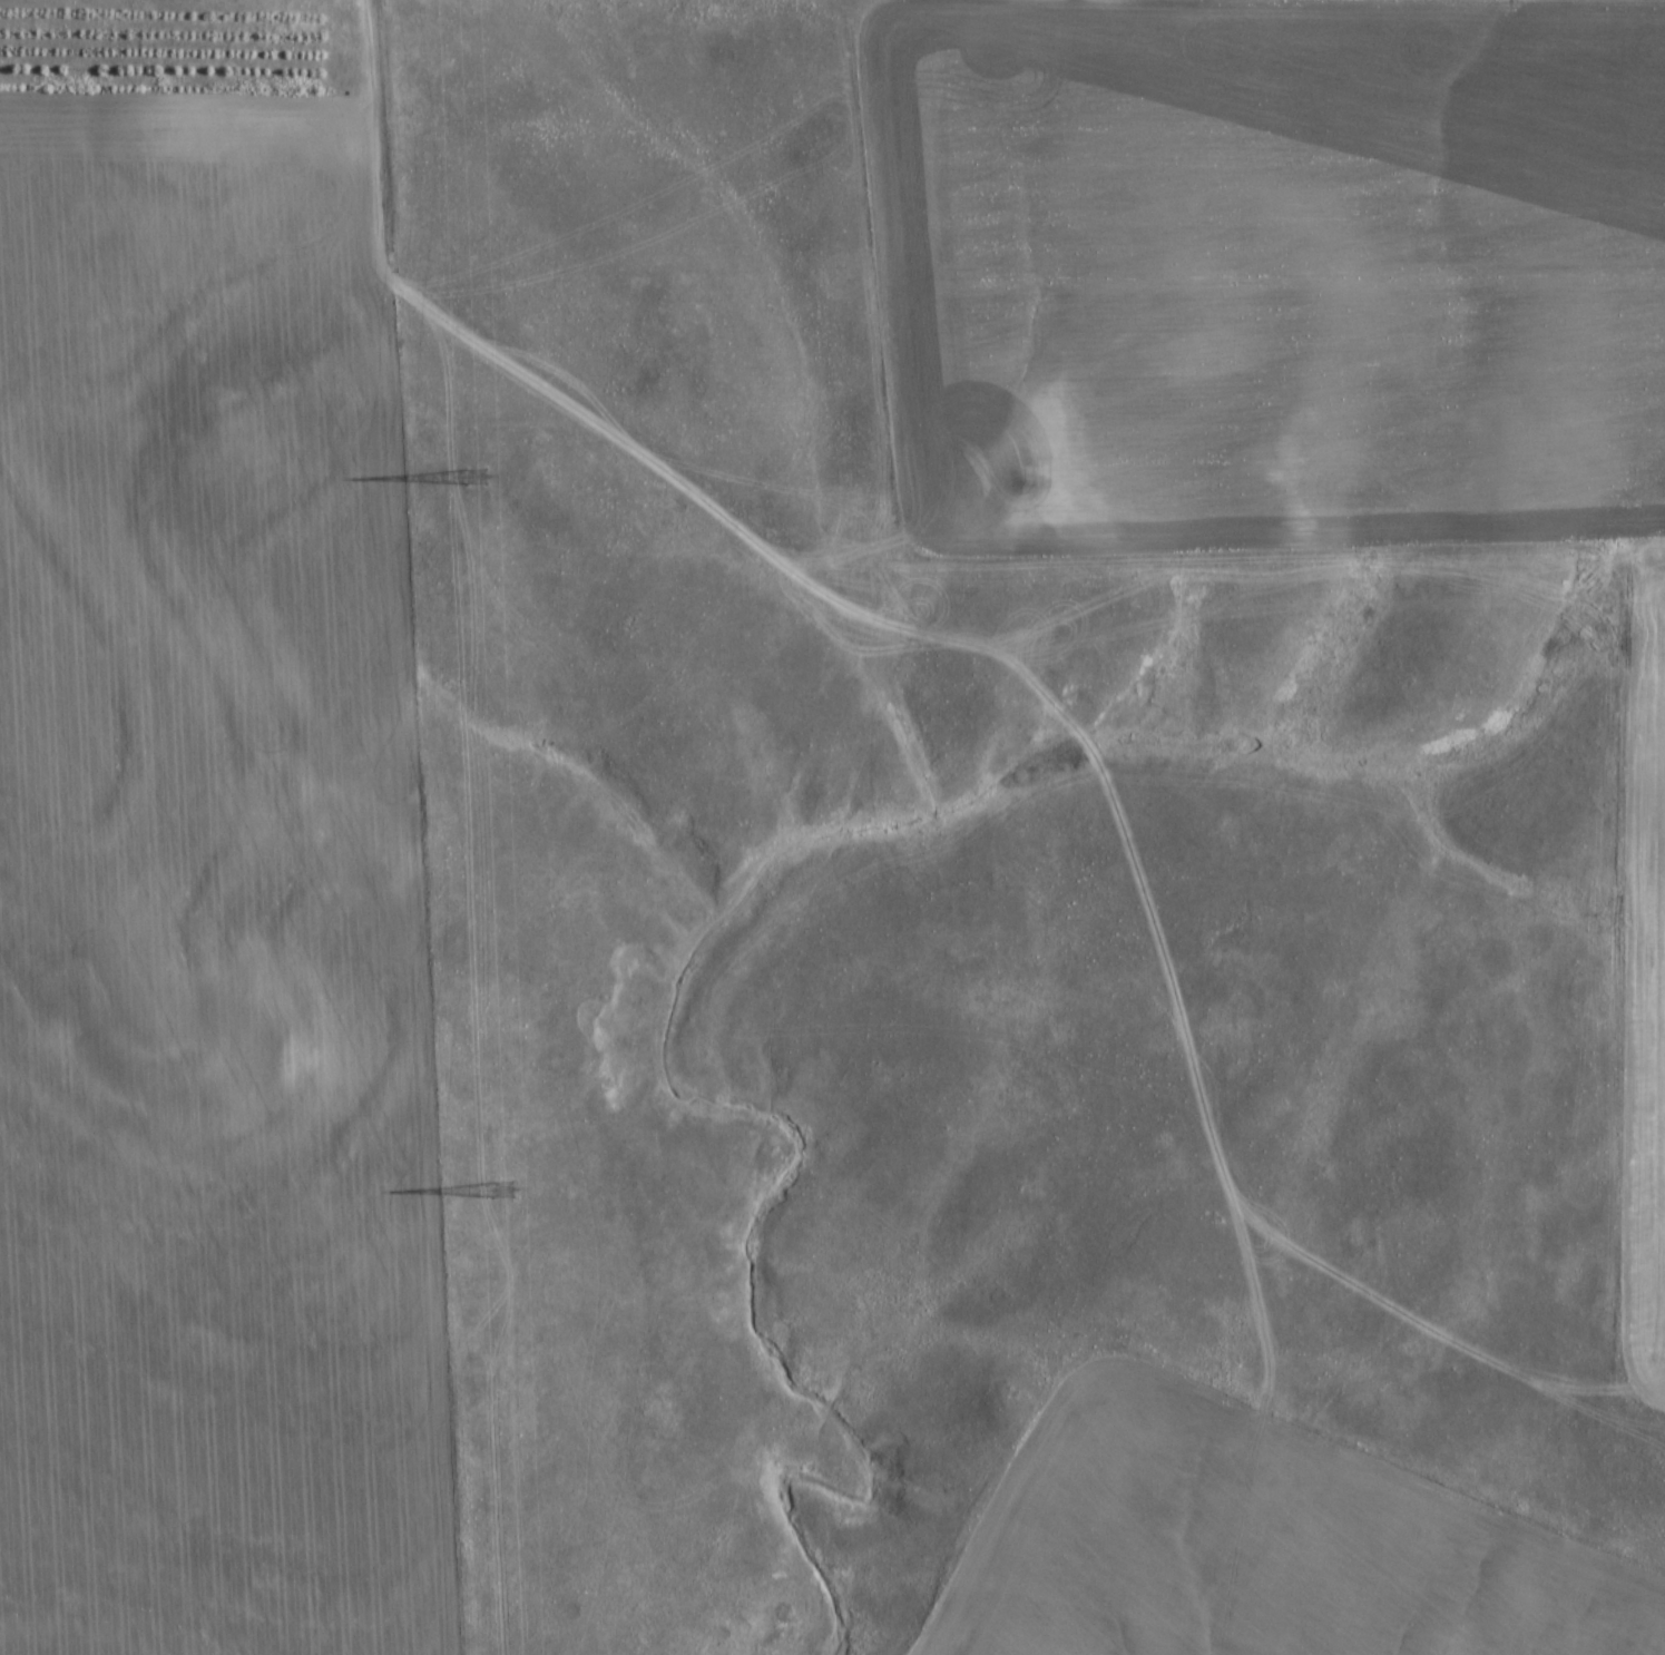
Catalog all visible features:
power tower: (474, 474)
power tower: (502, 1188)

